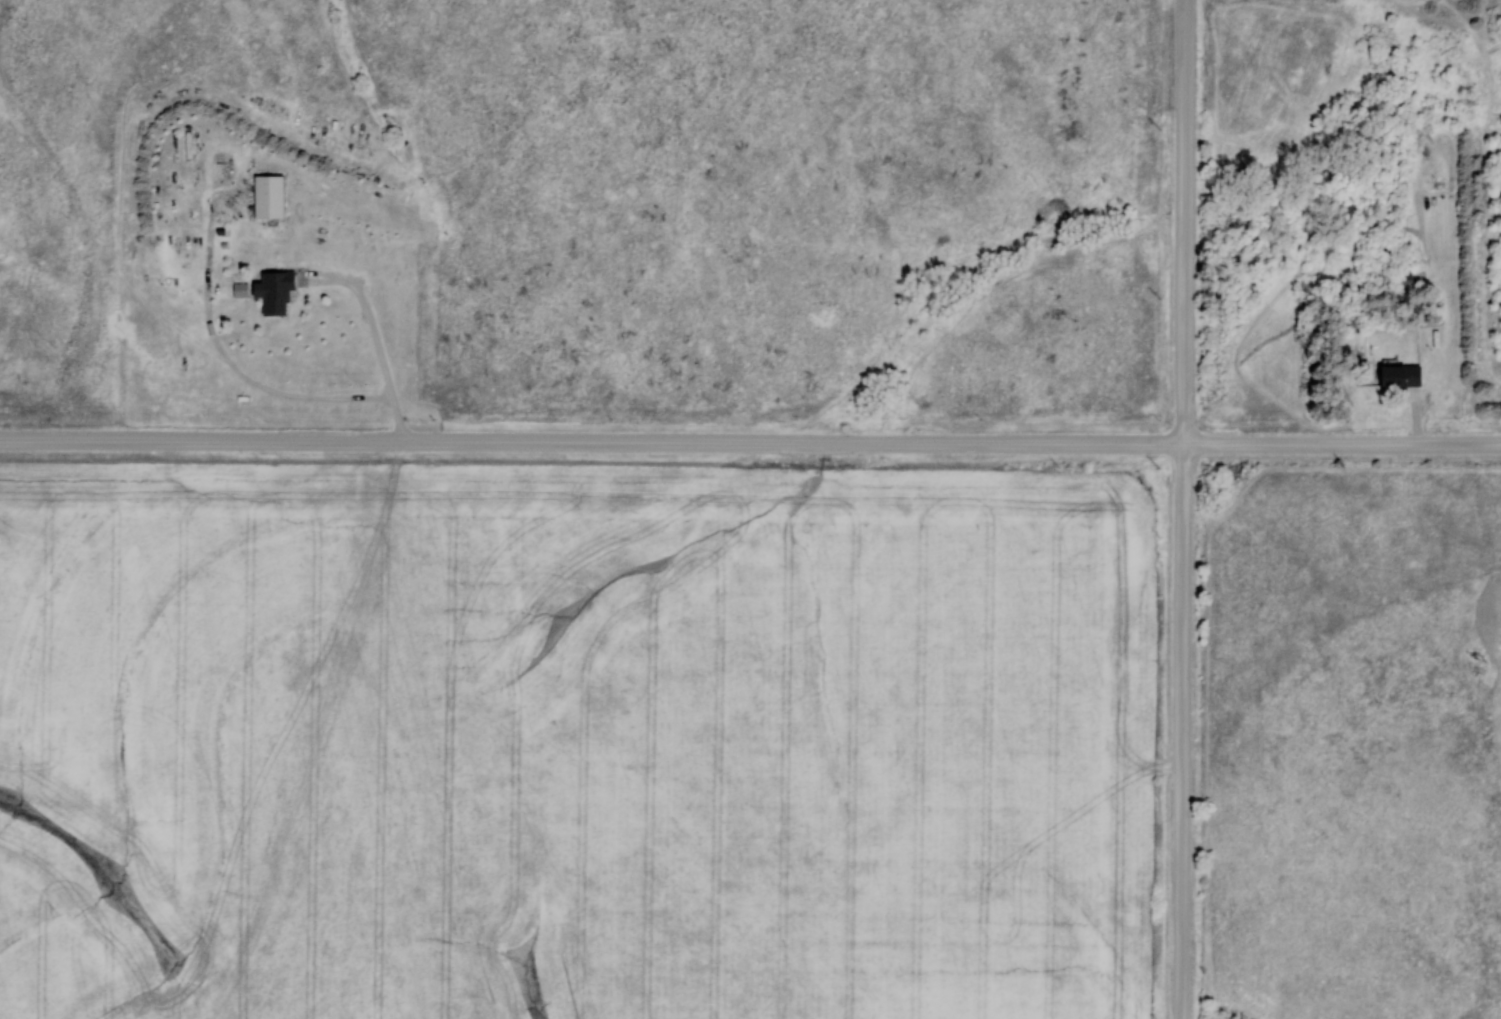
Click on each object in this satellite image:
building: (266, 196)
building: (270, 291)
road: (375, 335)
building: (1396, 377)
road: (750, 442)
road: (1183, 509)

